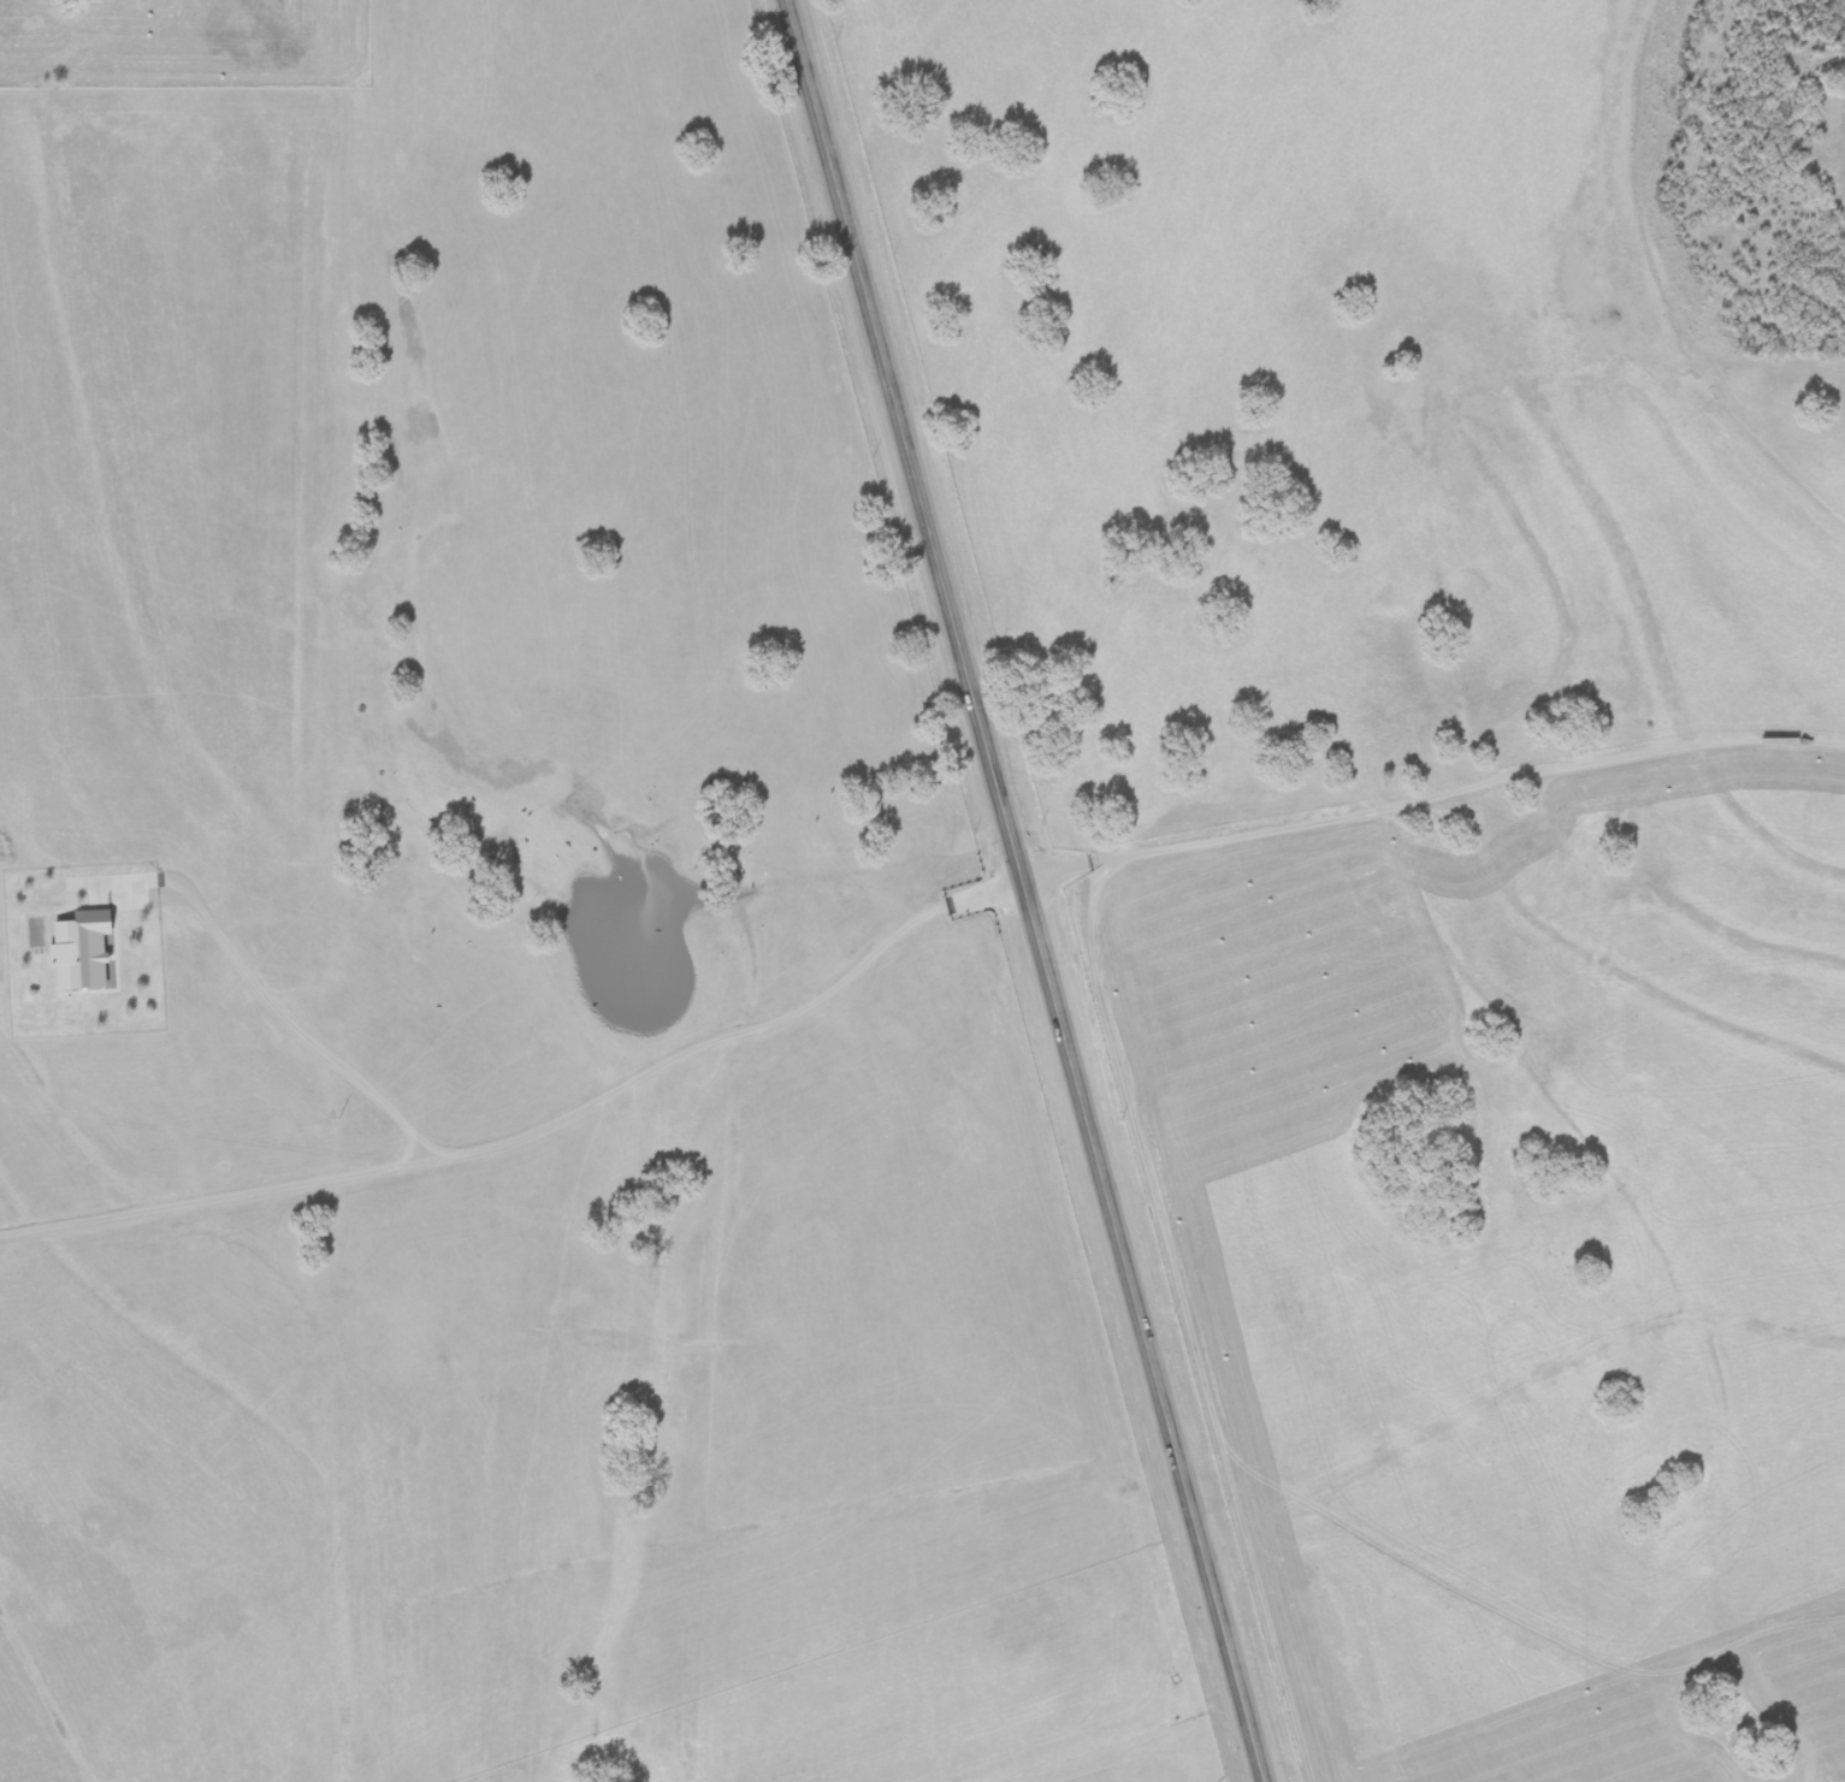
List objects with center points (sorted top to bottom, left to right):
airport: (6, 82)
road: (1429, 789)
road: (1019, 890)

